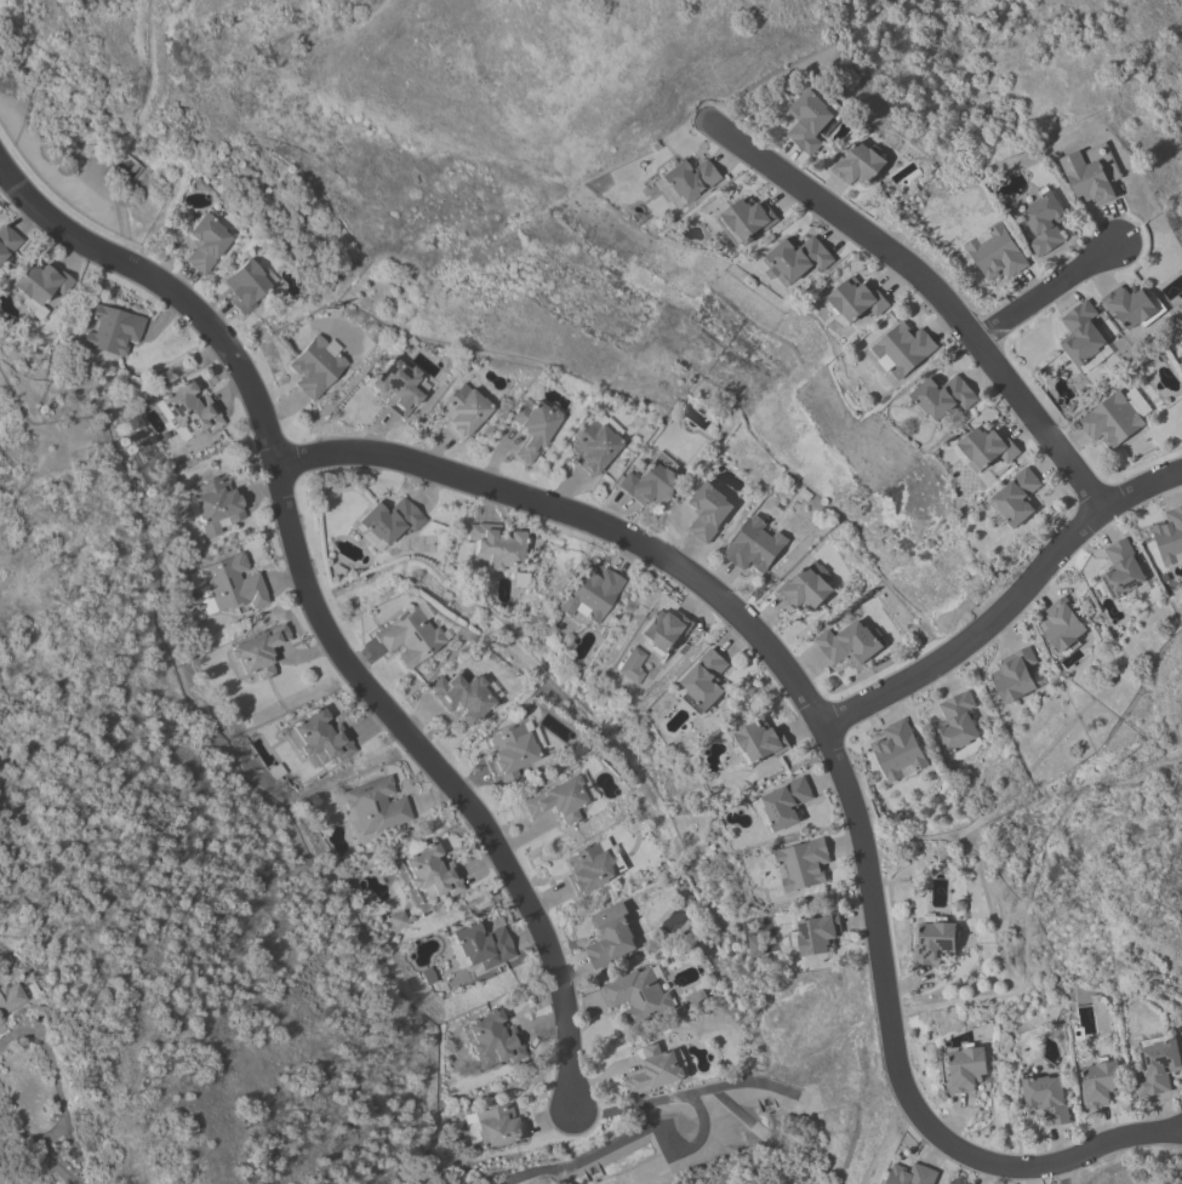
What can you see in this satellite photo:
park: (497, 86)
building: (811, 118)
building: (860, 164)
building: (1091, 173)
building: (689, 178)
building: (746, 218)
building: (1044, 222)
building: (7, 241)
building: (205, 241)
building: (995, 253)
building: (799, 256)
building: (39, 285)
building: (245, 285)
road: (932, 288)
road: (1046, 293)
building: (856, 298)
building: (1132, 305)
building: (112, 330)
building: (1080, 333)
building: (902, 349)
building: (314, 366)
building: (398, 387)
building: (941, 395)
building: (189, 410)
building: (462, 410)
building: (1110, 421)
building: (532, 428)
building: (593, 446)
building: (987, 446)
building: (650, 481)
building: (1016, 497)
building: (216, 503)
building: (708, 510)
building: (388, 520)
building: (365, 537)
building: (1170, 537)
building: (496, 544)
building: (754, 545)
building: (1120, 570)
road: (371, 576)
building: (232, 583)
building: (804, 590)
building: (589, 593)
road: (1018, 602)
road: (318, 610)
building: (1062, 624)
building: (664, 628)
building: (407, 636)
building: (849, 642)
building: (256, 652)
building: (629, 665)
building: (1013, 675)
building: (704, 680)
building: (461, 694)
building: (957, 727)
building: (318, 738)
building: (759, 742)
road: (843, 743)
building: (897, 749)
building: (509, 751)
building: (556, 800)
building: (784, 803)
building: (376, 805)
building: (803, 864)
building: (587, 868)
building: (432, 871)
road: (1024, 900)
building: (399, 920)
building: (817, 933)
building: (610, 936)
building: (933, 940)
building: (480, 944)
building: (755, 945)
building: (428, 976)
building: (638, 996)
building: (10, 997)
building: (693, 999)
building: (491, 1039)
building: (1155, 1064)
building: (966, 1068)
building: (655, 1070)
road: (55, 1079)
building: (1100, 1082)
building: (1046, 1098)
building: (497, 1126)
road: (19, 1137)
road: (55, 1171)
building: (910, 1174)

